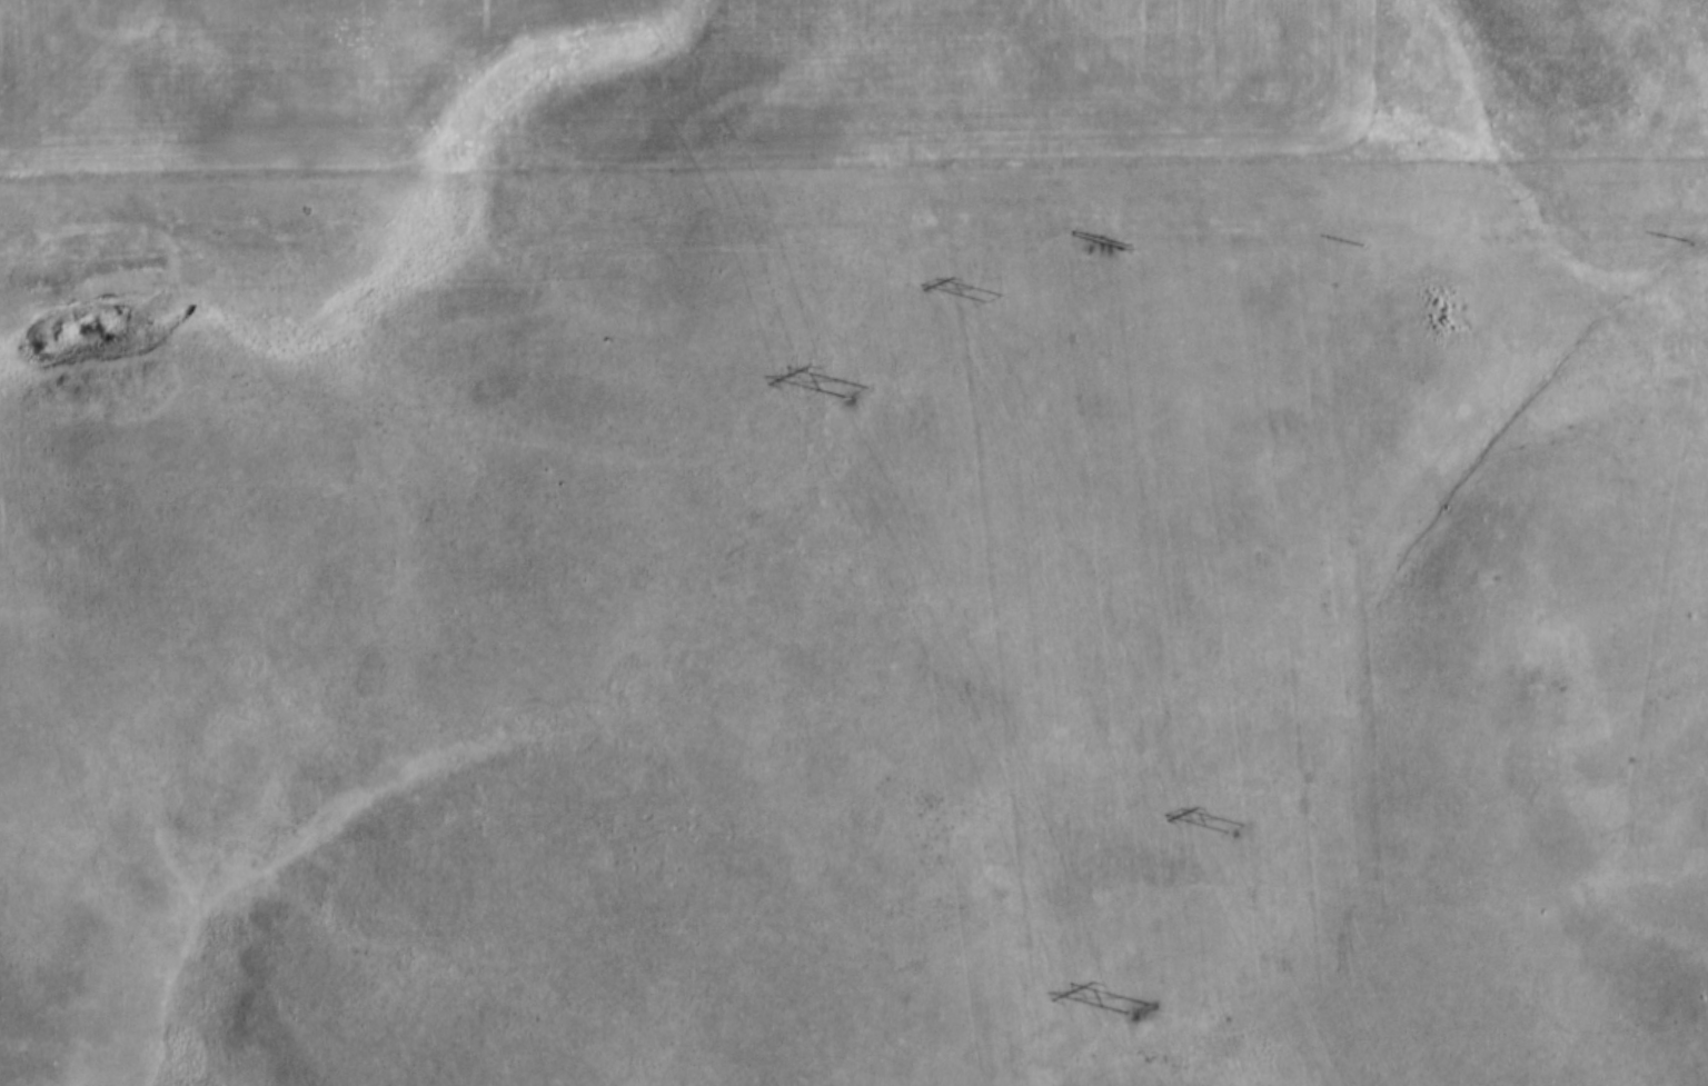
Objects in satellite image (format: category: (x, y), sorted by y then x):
power tower: (984, 305)
power tower: (1230, 833)

